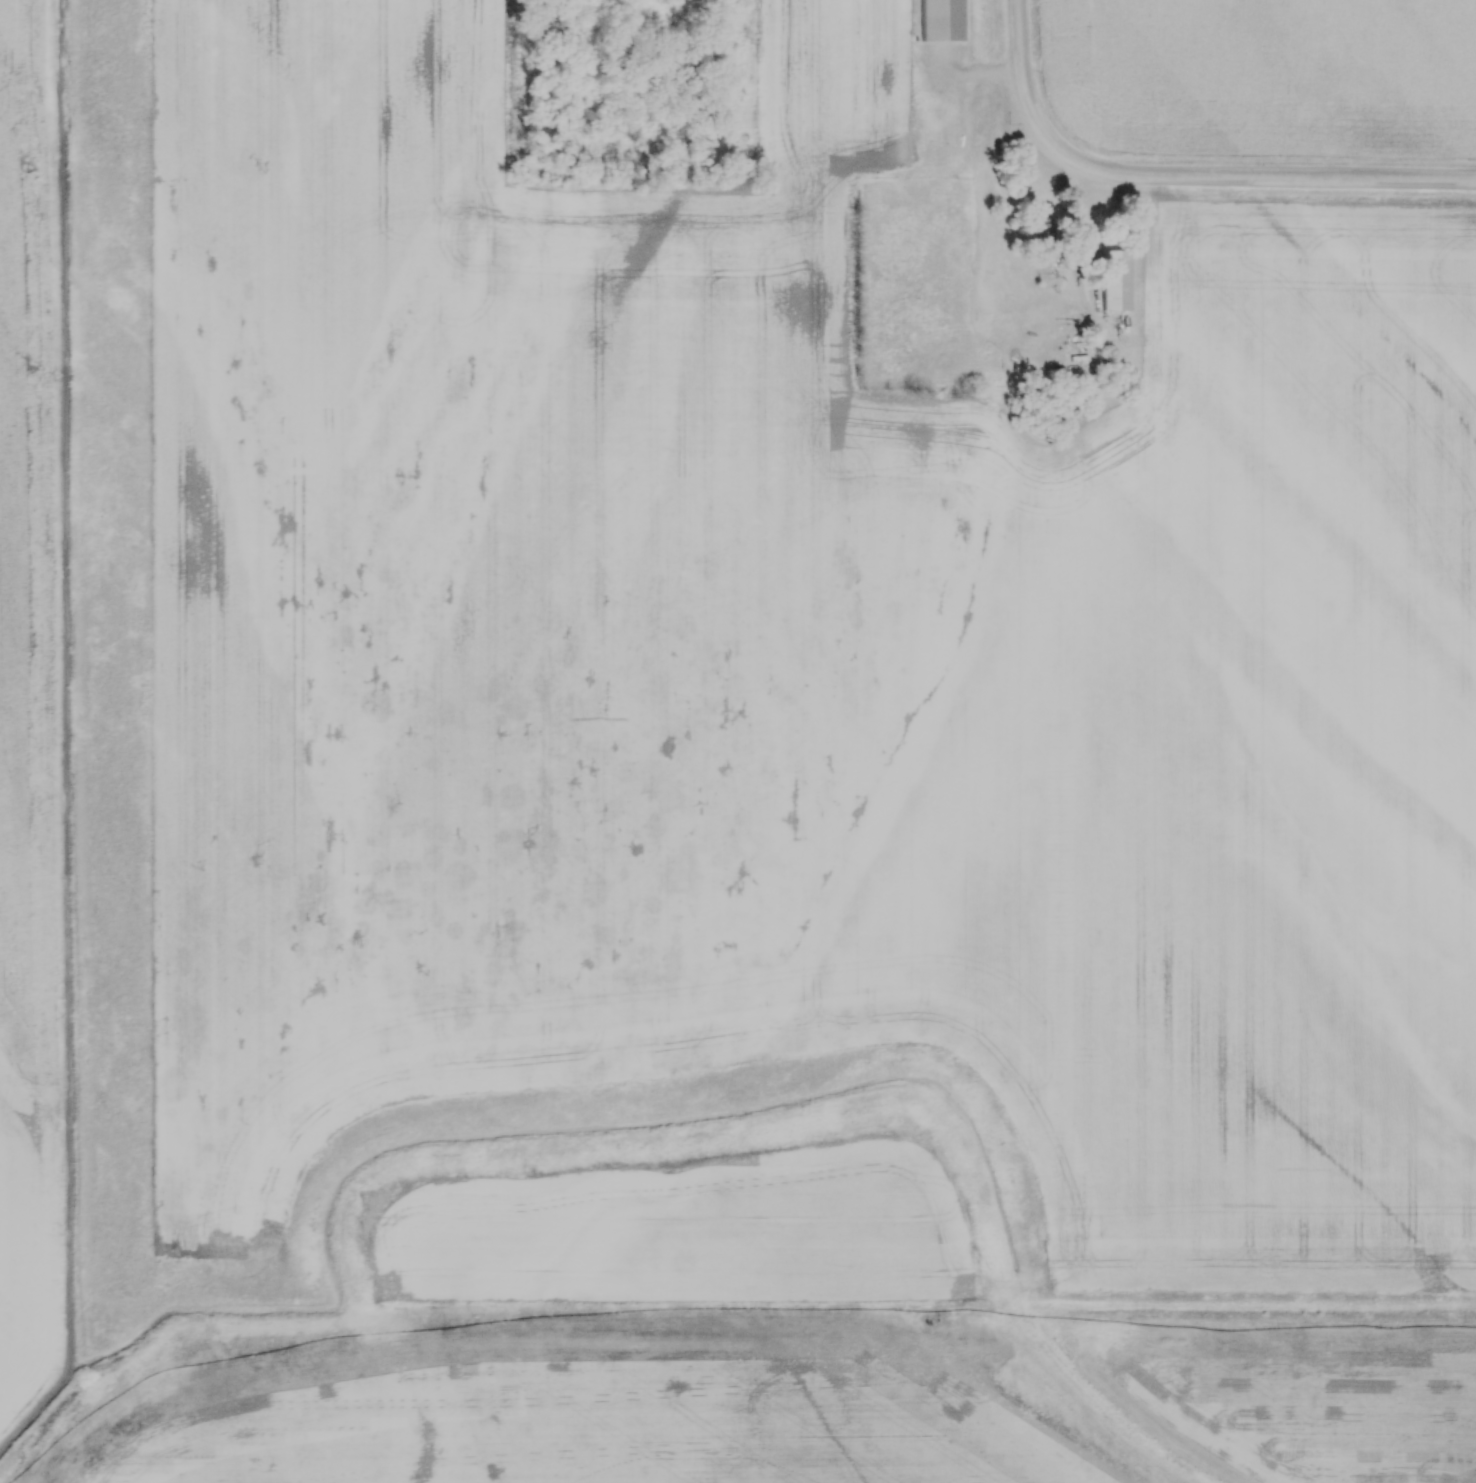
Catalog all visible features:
road: (1181, 175)
road: (1068, 227)

